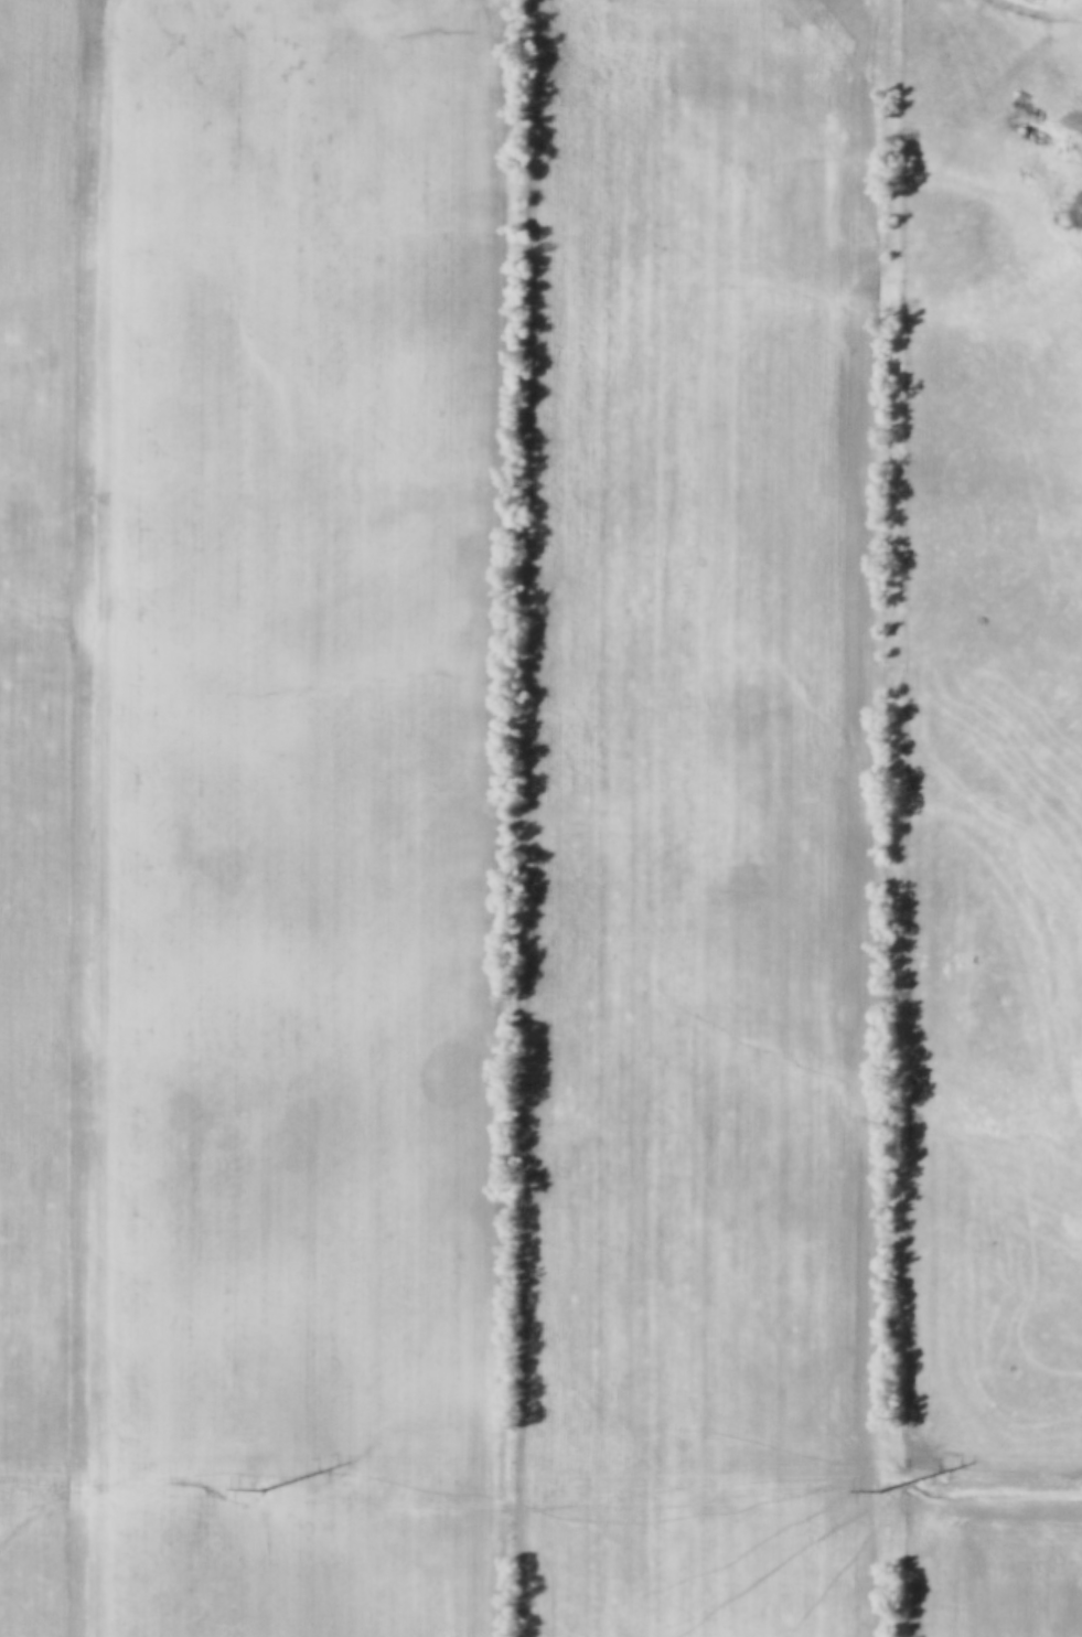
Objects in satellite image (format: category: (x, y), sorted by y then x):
power tower: (255, 1487)
power tower: (874, 1487)

